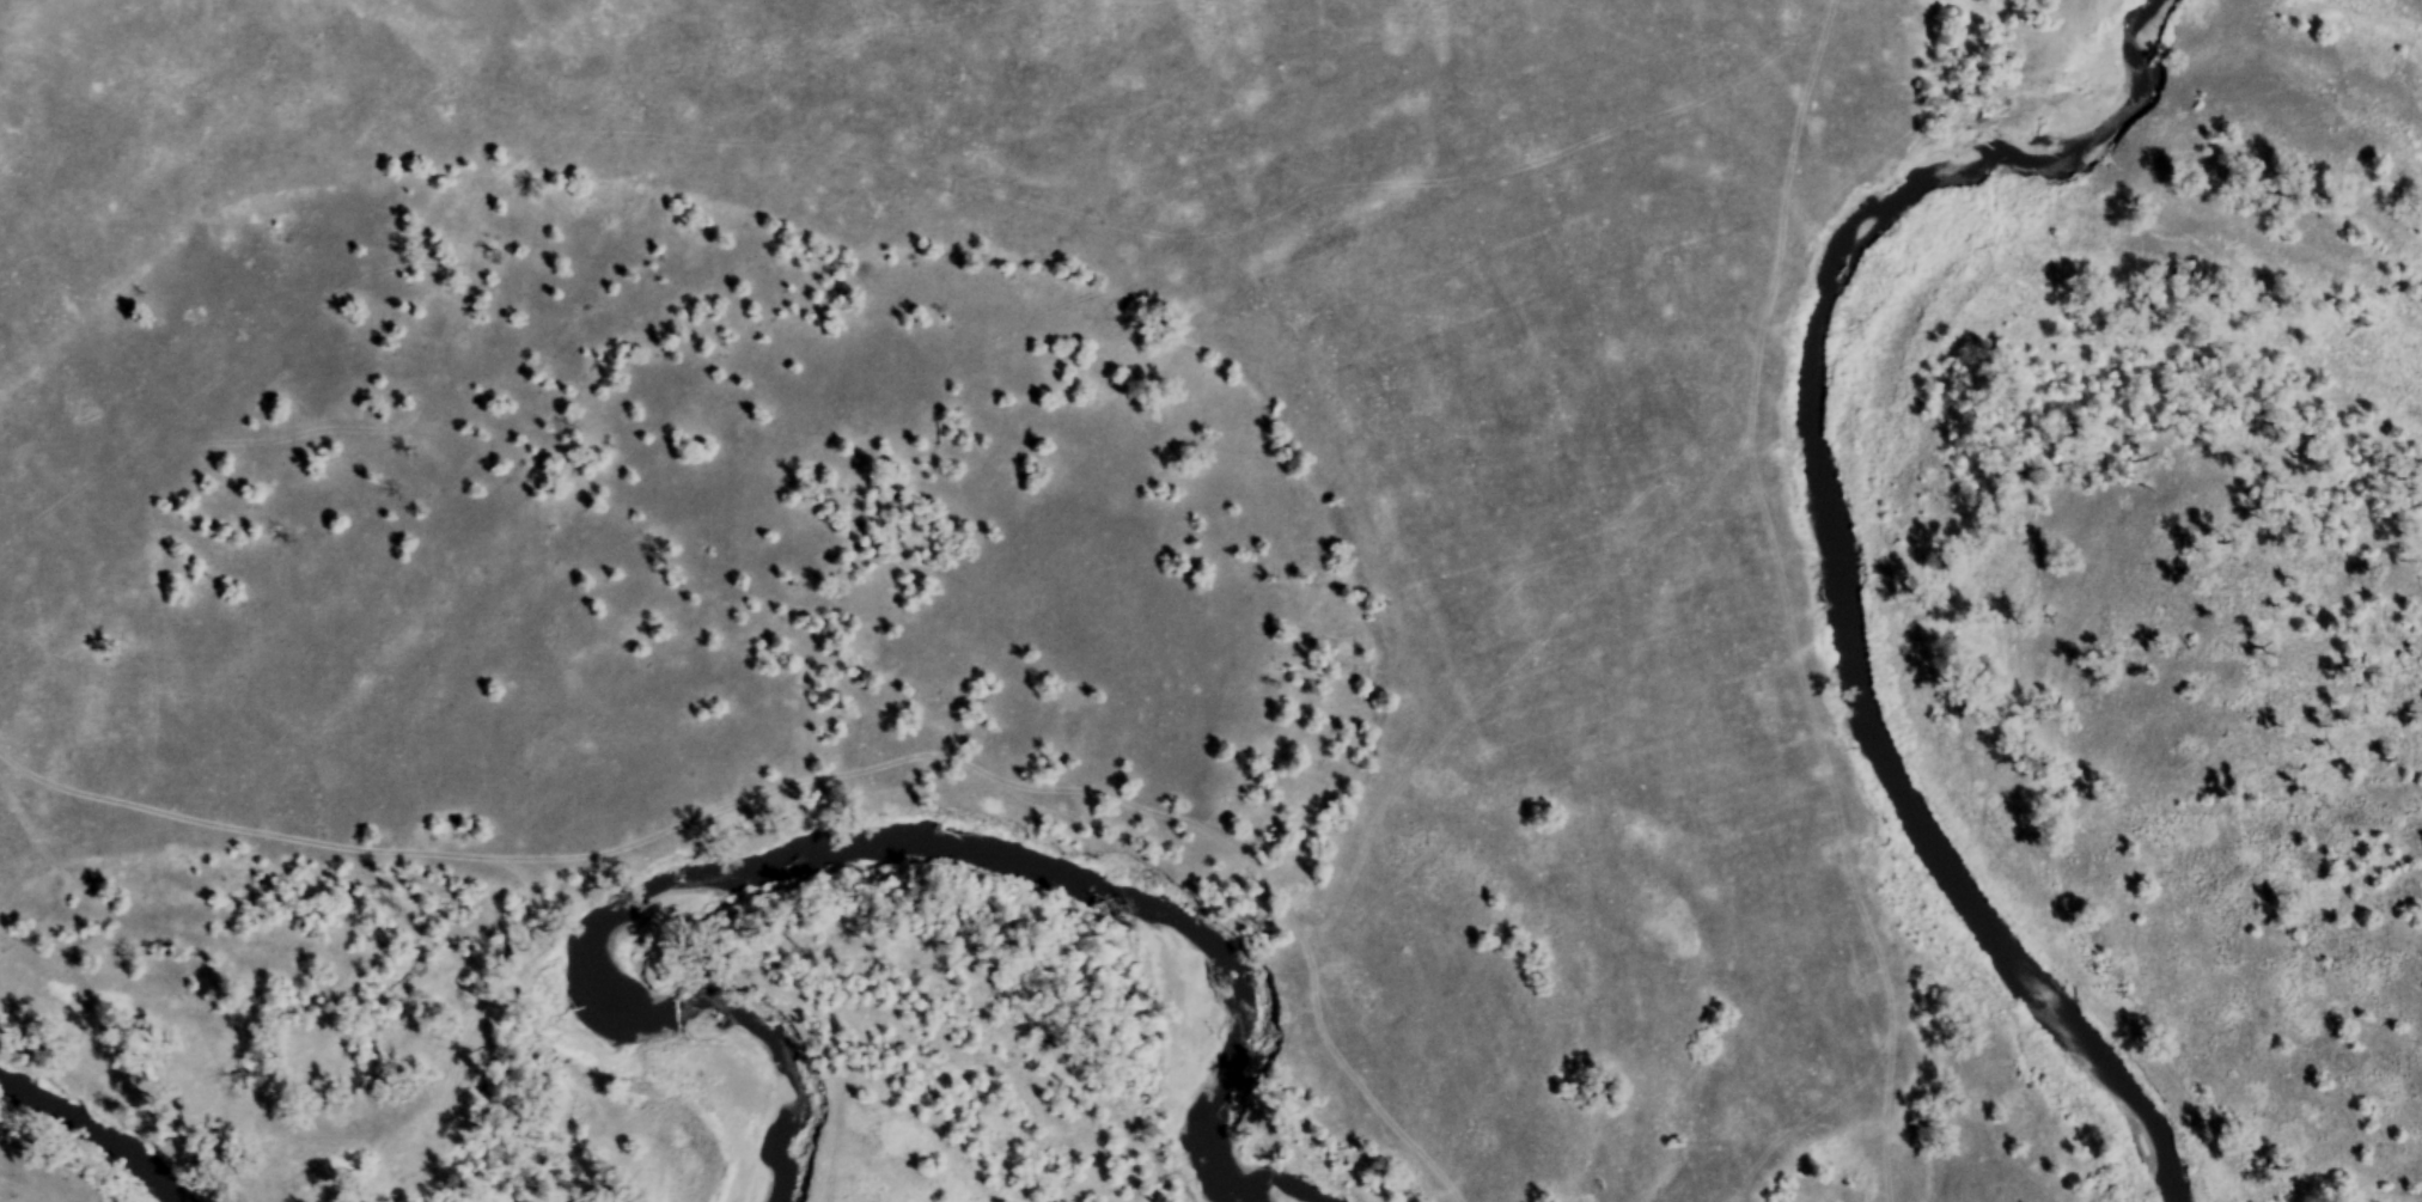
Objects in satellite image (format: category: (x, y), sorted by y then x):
river: (1838, 543)
river: (803, 849)
road: (83, 919)
river: (93, 1127)

